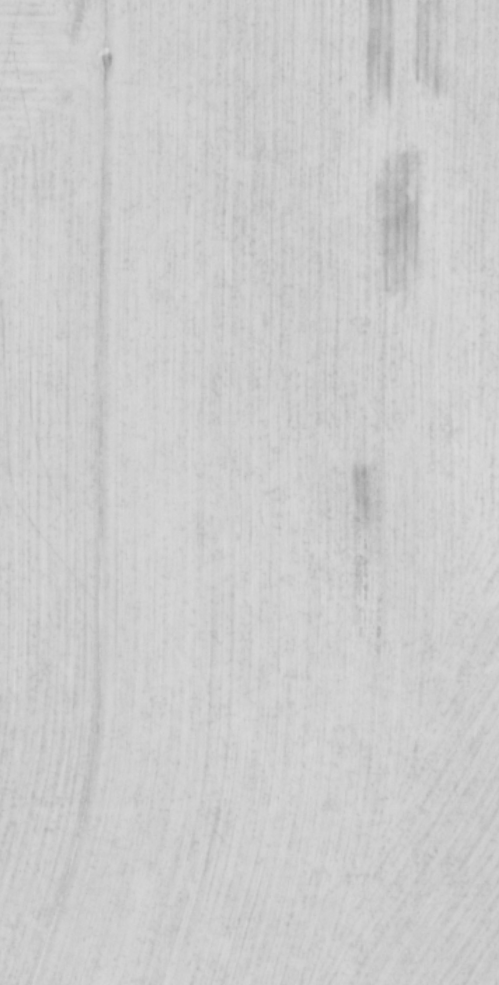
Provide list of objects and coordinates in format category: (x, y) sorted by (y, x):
crop: (249, 492)

